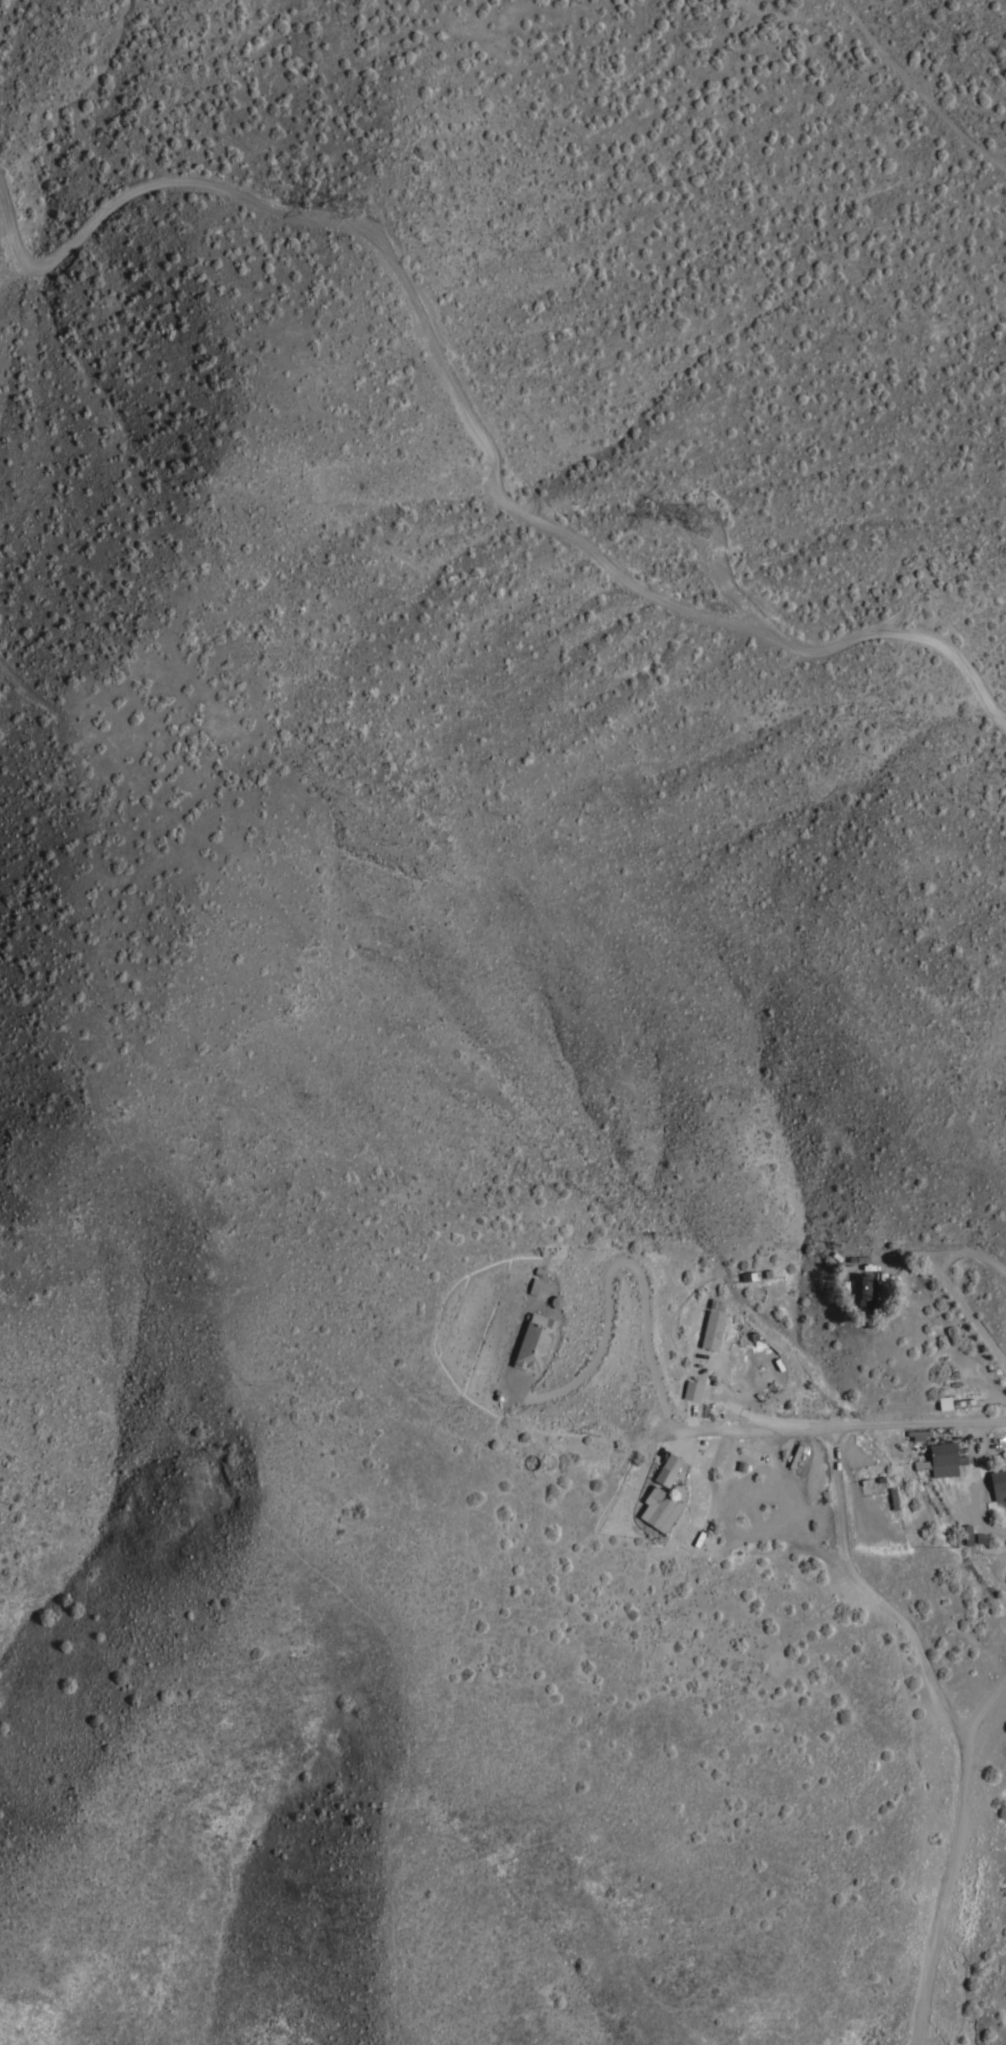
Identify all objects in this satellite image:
power tower: (351, 206)
road: (471, 419)
power tower: (695, 531)
road: (726, 584)
road: (615, 1261)
building: (750, 1275)
building: (882, 1280)
building: (535, 1285)
building: (866, 1290)
road: (957, 1296)
building: (557, 1300)
building: (713, 1328)
building: (534, 1341)
building: (693, 1390)
building: (945, 1401)
road: (840, 1427)
building: (919, 1433)
building: (942, 1459)
building: (668, 1469)
building: (998, 1483)
building: (893, 1497)
road: (794, 1504)
building: (660, 1505)
building: (968, 1533)
road: (985, 1708)
road: (953, 1719)

